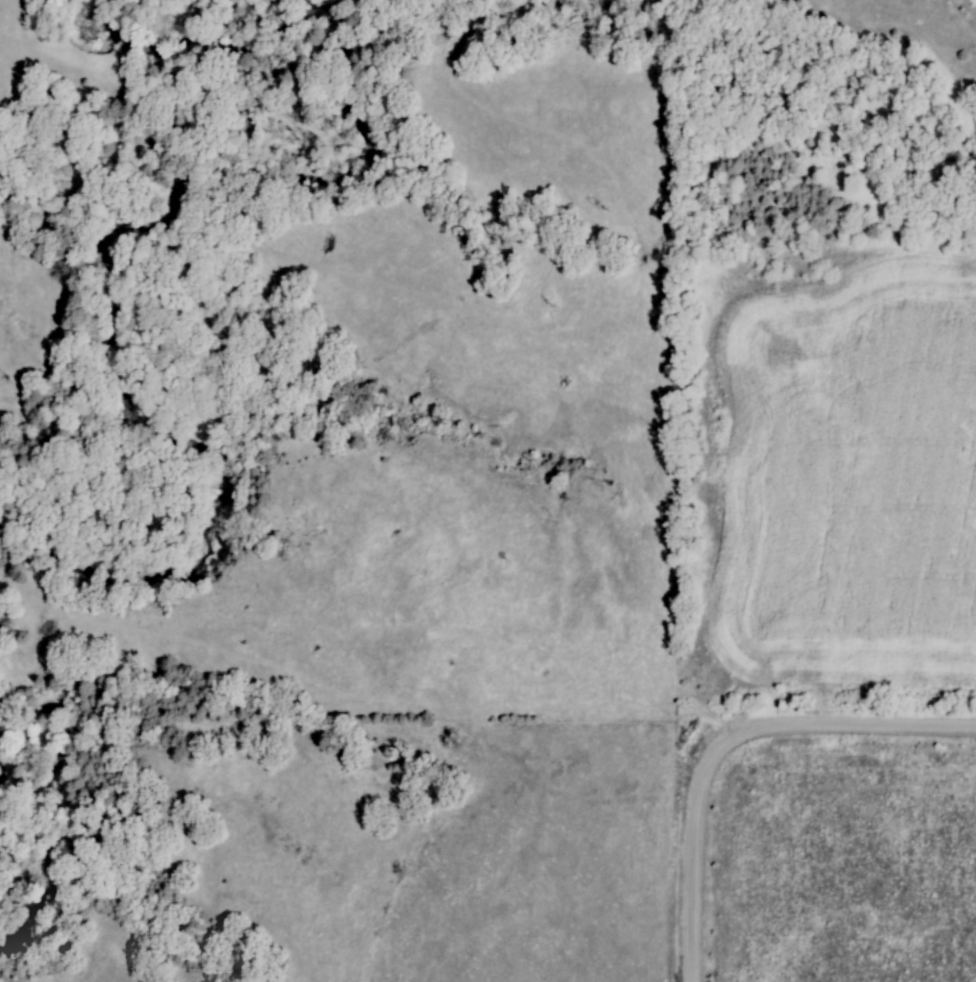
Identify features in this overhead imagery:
road: (729, 742)

